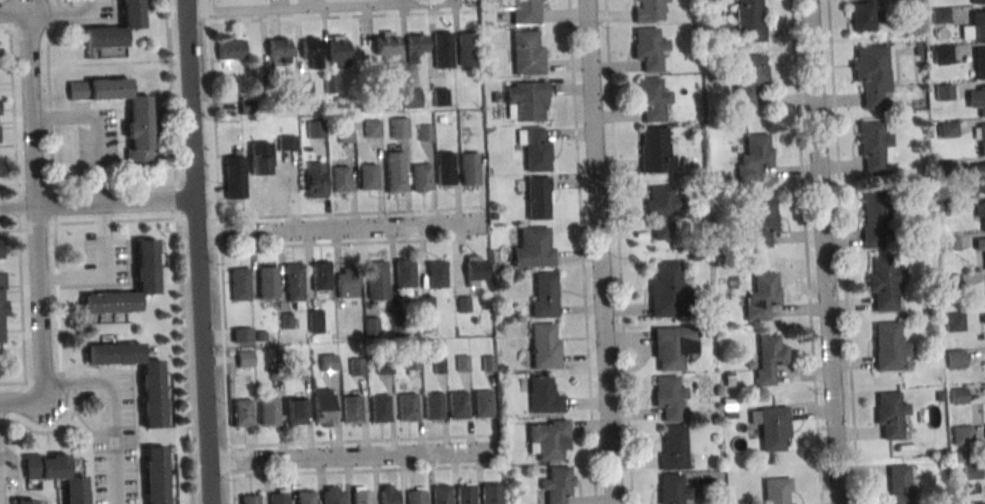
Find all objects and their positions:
building: (977, 1)
road: (185, 5)
road: (285, 5)
building: (524, 11)
building: (651, 11)
road: (14, 14)
road: (64, 14)
building: (940, 14)
building: (862, 15)
road: (341, 16)
building: (749, 19)
road: (96, 20)
building: (114, 27)
building: (974, 27)
building: (385, 44)
building: (415, 45)
building: (279, 48)
building: (467, 48)
building: (650, 48)
building: (443, 49)
building: (229, 50)
building: (312, 50)
building: (337, 50)
building: (527, 52)
building: (942, 54)
building: (979, 61)
building: (871, 74)
building: (749, 80)
building: (330, 85)
building: (305, 88)
building: (943, 92)
building: (412, 98)
building: (440, 98)
building: (653, 98)
building: (526, 100)
building: (977, 100)
building: (246, 102)
road: (191, 104)
road: (32, 109)
building: (372, 127)
building: (399, 127)
building: (315, 128)
road: (96, 129)
building: (947, 129)
building: (424, 131)
building: (138, 133)
building: (345, 133)
building: (981, 138)
building: (287, 142)
road: (7, 145)
building: (874, 147)
building: (534, 148)
building: (657, 150)
building: (756, 154)
building: (261, 158)
building: (445, 168)
building: (470, 168)
building: (945, 169)
building: (395, 172)
building: (368, 176)
building: (236, 177)
building: (421, 177)
building: (979, 177)
building: (340, 178)
building: (315, 180)
road: (26, 184)
road: (114, 184)
road: (52, 185)
building: (538, 198)
road: (115, 201)
road: (17, 205)
building: (946, 206)
building: (662, 210)
building: (979, 211)
road: (331, 213)
road: (17, 214)
road: (196, 215)
building: (874, 218)
building: (760, 221)
road: (101, 222)
road: (340, 229)
road: (12, 230)
building: (948, 242)
road: (340, 243)
building: (980, 244)
building: (534, 247)
road: (219, 251)
road: (598, 251)
building: (0, 252)
road: (179, 252)
road: (582, 252)
road: (618, 252)
road: (805, 252)
road: (822, 252)
road: (842, 252)
building: (145, 265)
building: (476, 270)
building: (404, 272)
road: (105, 273)
building: (436, 274)
building: (321, 276)
building: (267, 281)
building: (376, 281)
building: (883, 281)
building: (951, 281)
building: (293, 283)
building: (347, 283)
road: (124, 284)
building: (239, 284)
building: (666, 289)
road: (38, 293)
building: (543, 294)
building: (762, 296)
building: (463, 303)
building: (427, 304)
building: (1, 310)
building: (982, 318)
building: (287, 321)
building: (315, 321)
building: (953, 321)
building: (399, 323)
building: (371, 326)
building: (241, 334)
building: (261, 336)
building: (545, 345)
building: (673, 346)
building: (888, 346)
road: (204, 348)
building: (245, 358)
building: (768, 358)
building: (955, 359)
building: (328, 361)
building: (412, 361)
building: (462, 363)
building: (488, 363)
building: (439, 365)
building: (356, 366)
building: (384, 366)
building: (304, 368)
building: (276, 372)
building: (543, 395)
building: (957, 395)
building: (152, 396)
building: (670, 398)
road: (135, 400)
building: (482, 403)
road: (28, 405)
road: (113, 405)
building: (433, 405)
building: (457, 405)
building: (325, 406)
building: (407, 406)
building: (379, 408)
building: (350, 409)
building: (295, 411)
building: (242, 412)
building: (268, 412)
building: (890, 413)
building: (771, 426)
road: (40, 432)
road: (90, 433)
building: (960, 435)
building: (547, 438)
road: (361, 440)
building: (673, 448)
road: (352, 455)
building: (962, 457)
road: (18, 467)
road: (363, 470)
building: (972, 473)
building: (55, 474)
building: (155, 475)
road: (211, 483)
building: (900, 483)
building: (557, 484)
building: (672, 489)
building: (776, 490)
building: (464, 493)
building: (490, 493)
road: (36, 494)
building: (388, 494)
building: (441, 494)
building: (332, 495)
building: (361, 495)
building: (415, 495)
building: (278, 496)
building: (305, 497)
building: (249, 499)
building: (25, 501)
building: (975, 503)

